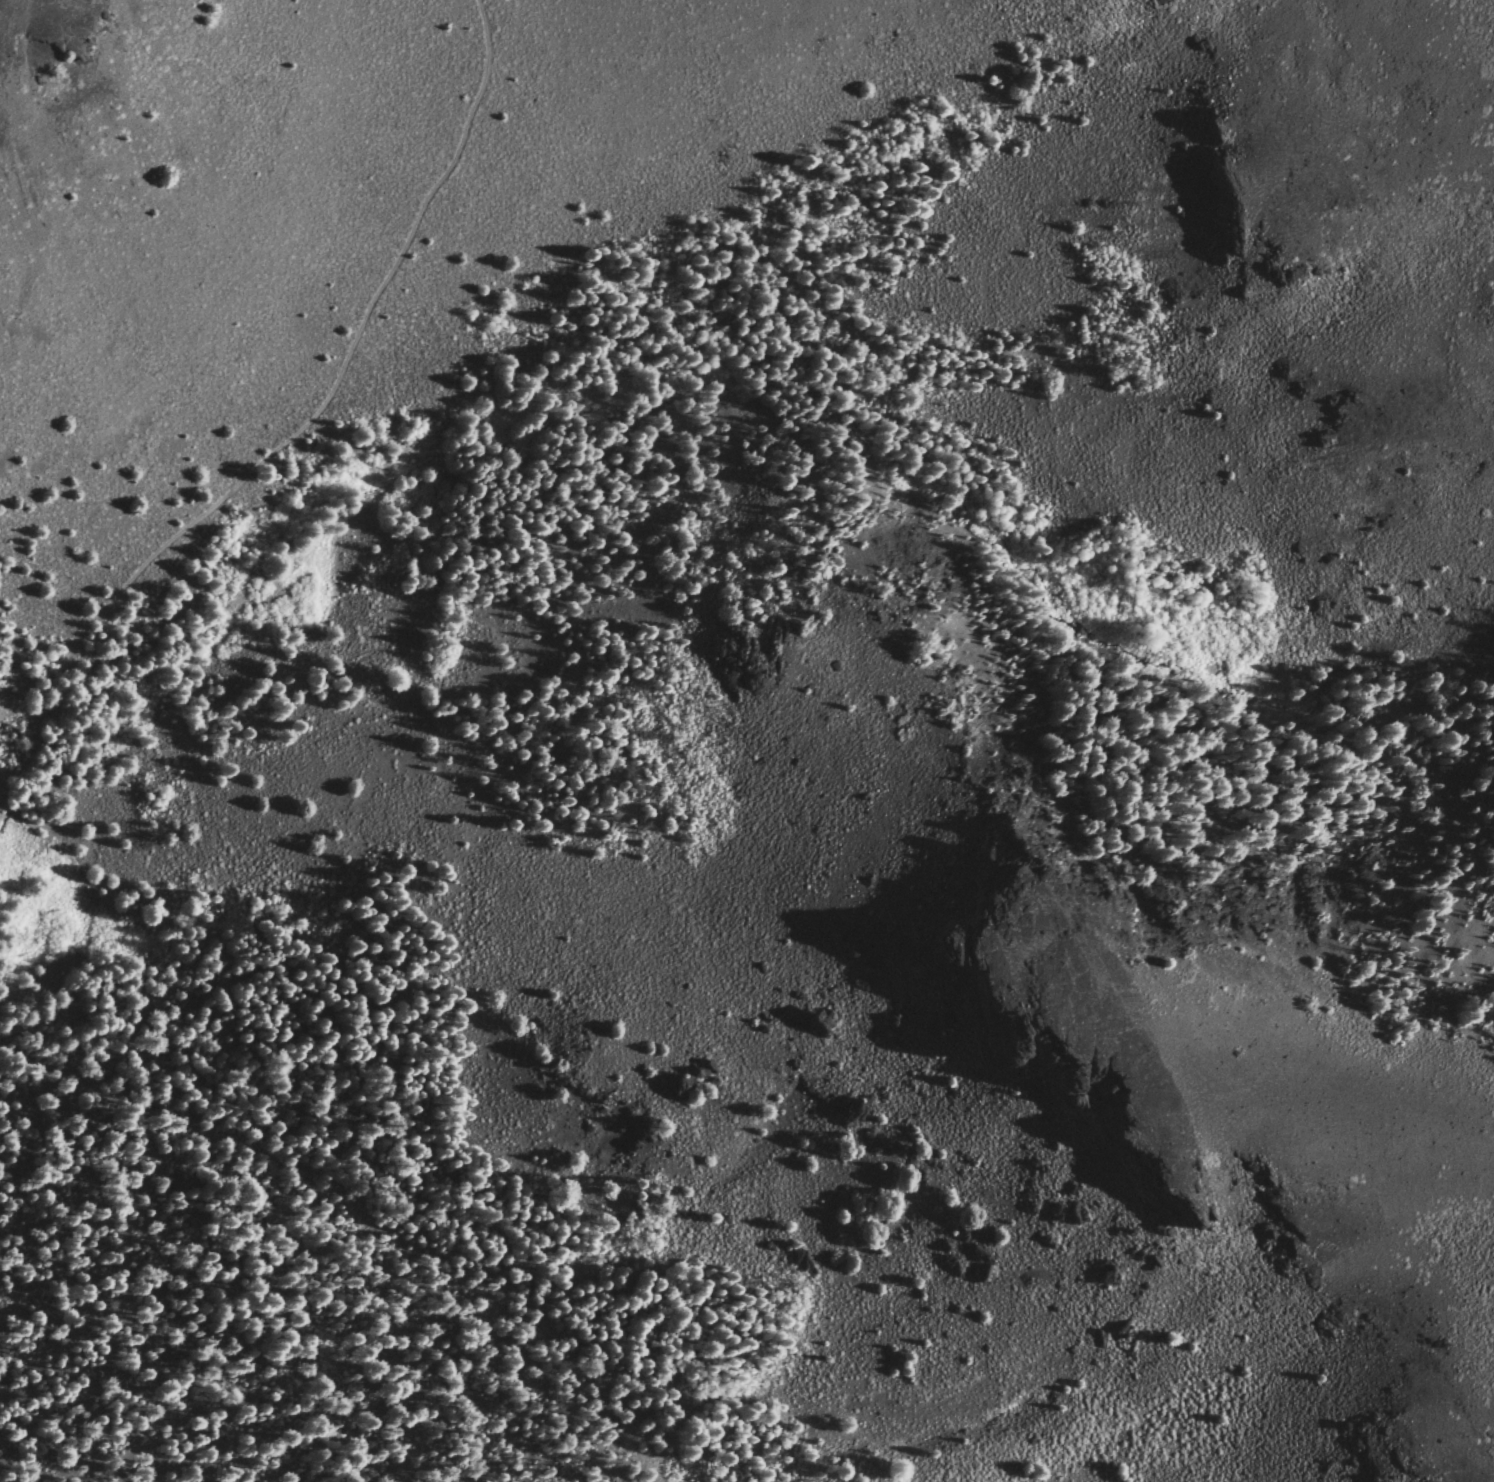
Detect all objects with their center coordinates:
road: (322, 427)

